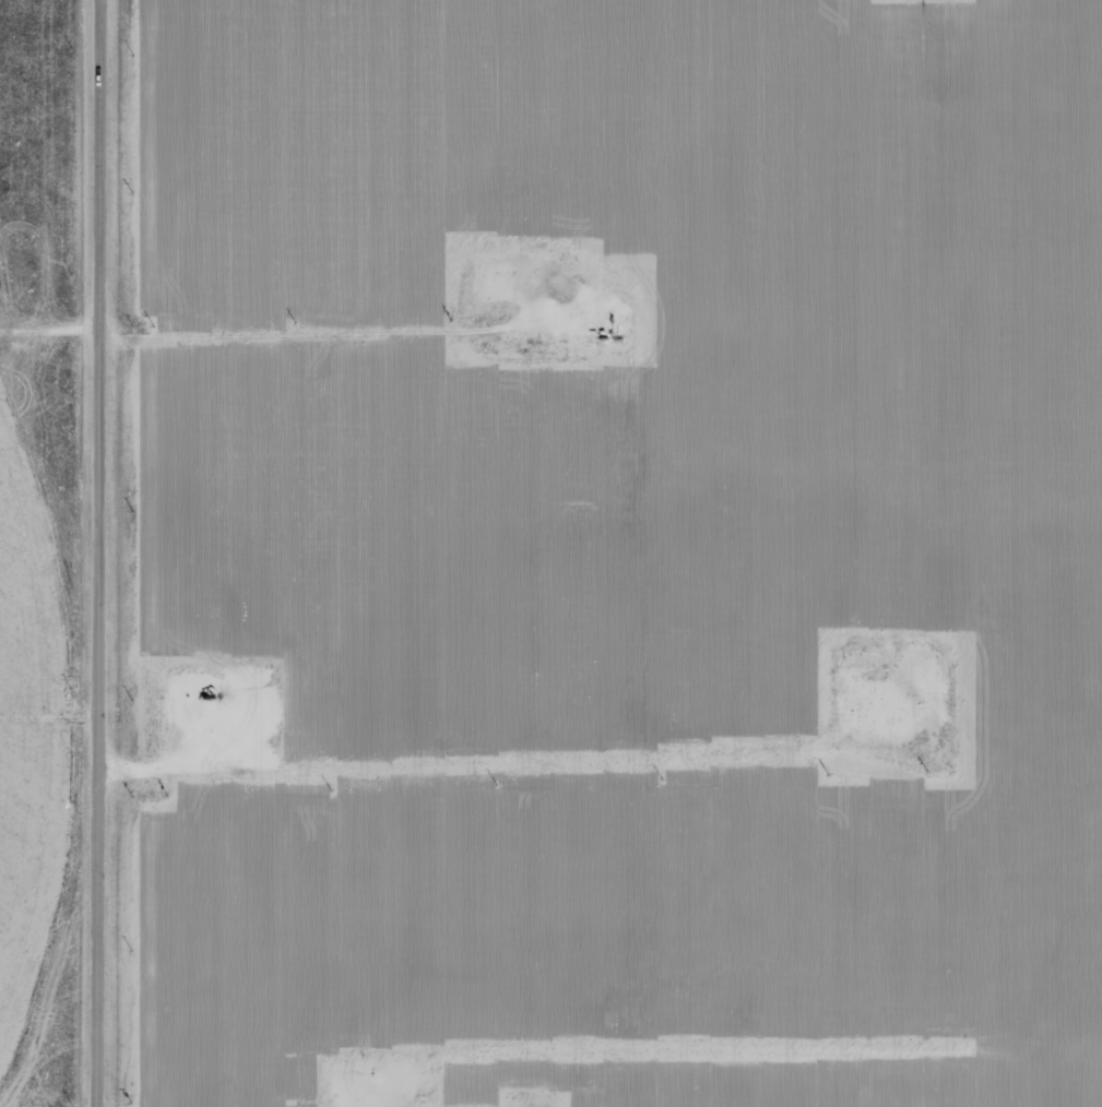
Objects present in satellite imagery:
road: (322, 383)
road: (108, 552)
petroleum well: (210, 698)
road: (55, 1096)

